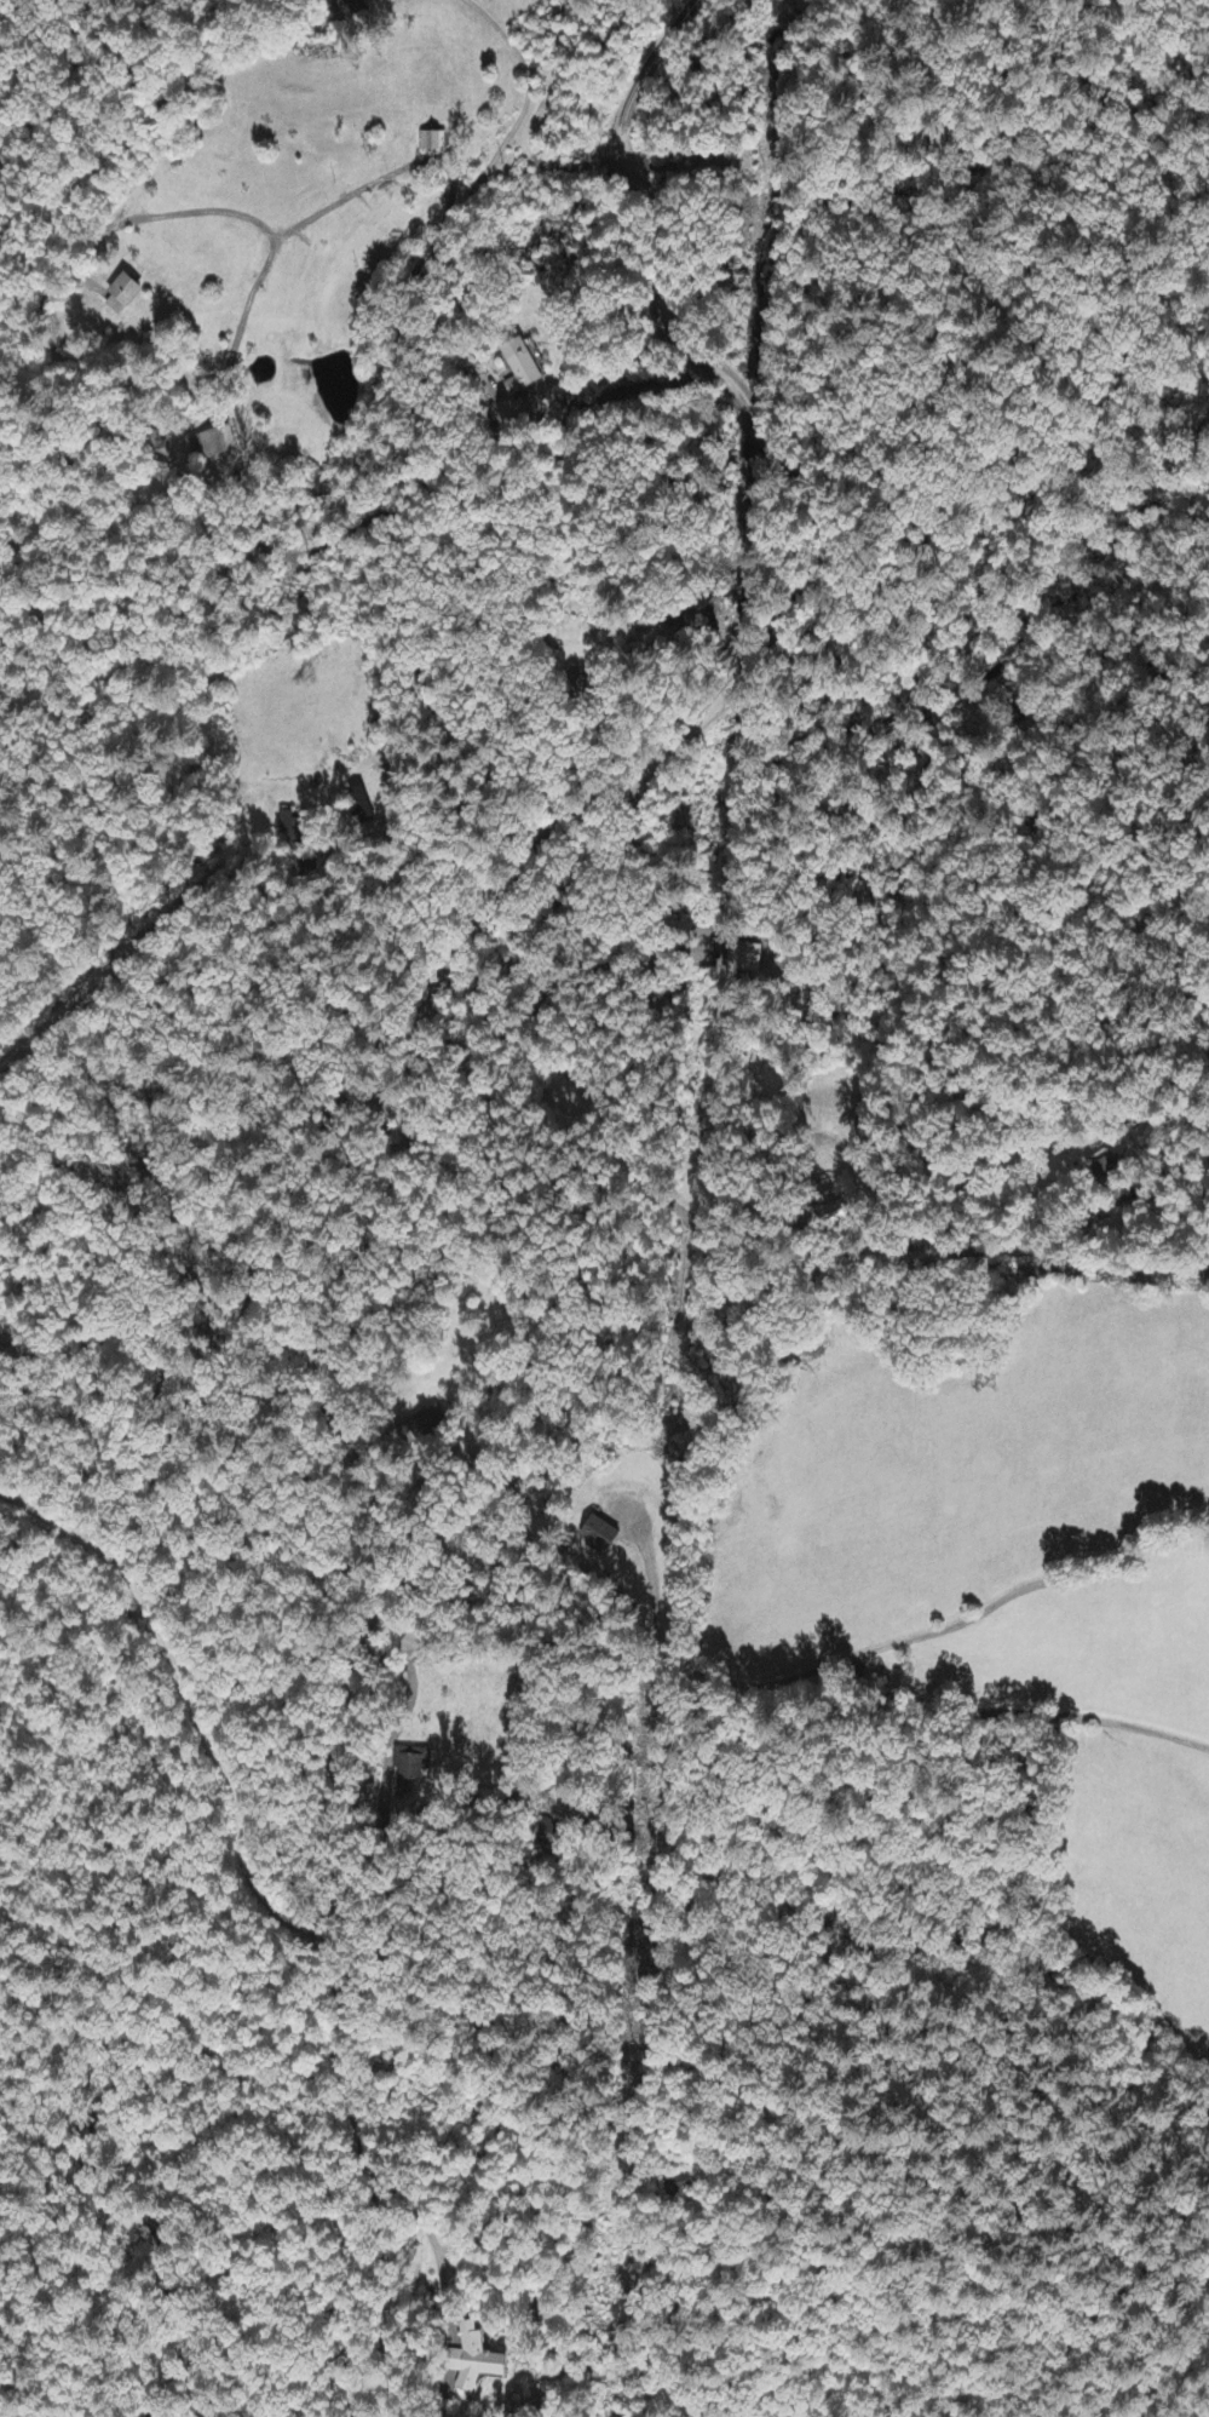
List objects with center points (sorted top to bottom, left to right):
building: (431, 147)
building: (121, 297)
building: (519, 369)
building: (213, 444)
road: (235, 524)
building: (580, 685)
road: (718, 696)
building: (358, 810)
building: (293, 844)
building: (744, 959)
road: (195, 1314)
building: (425, 1425)
road: (402, 1502)
building: (599, 1535)
road: (995, 1601)
road: (804, 1692)
road: (186, 1694)
road: (589, 1723)
building: (411, 1766)
road: (324, 1896)
road: (783, 2092)
building: (476, 2361)

